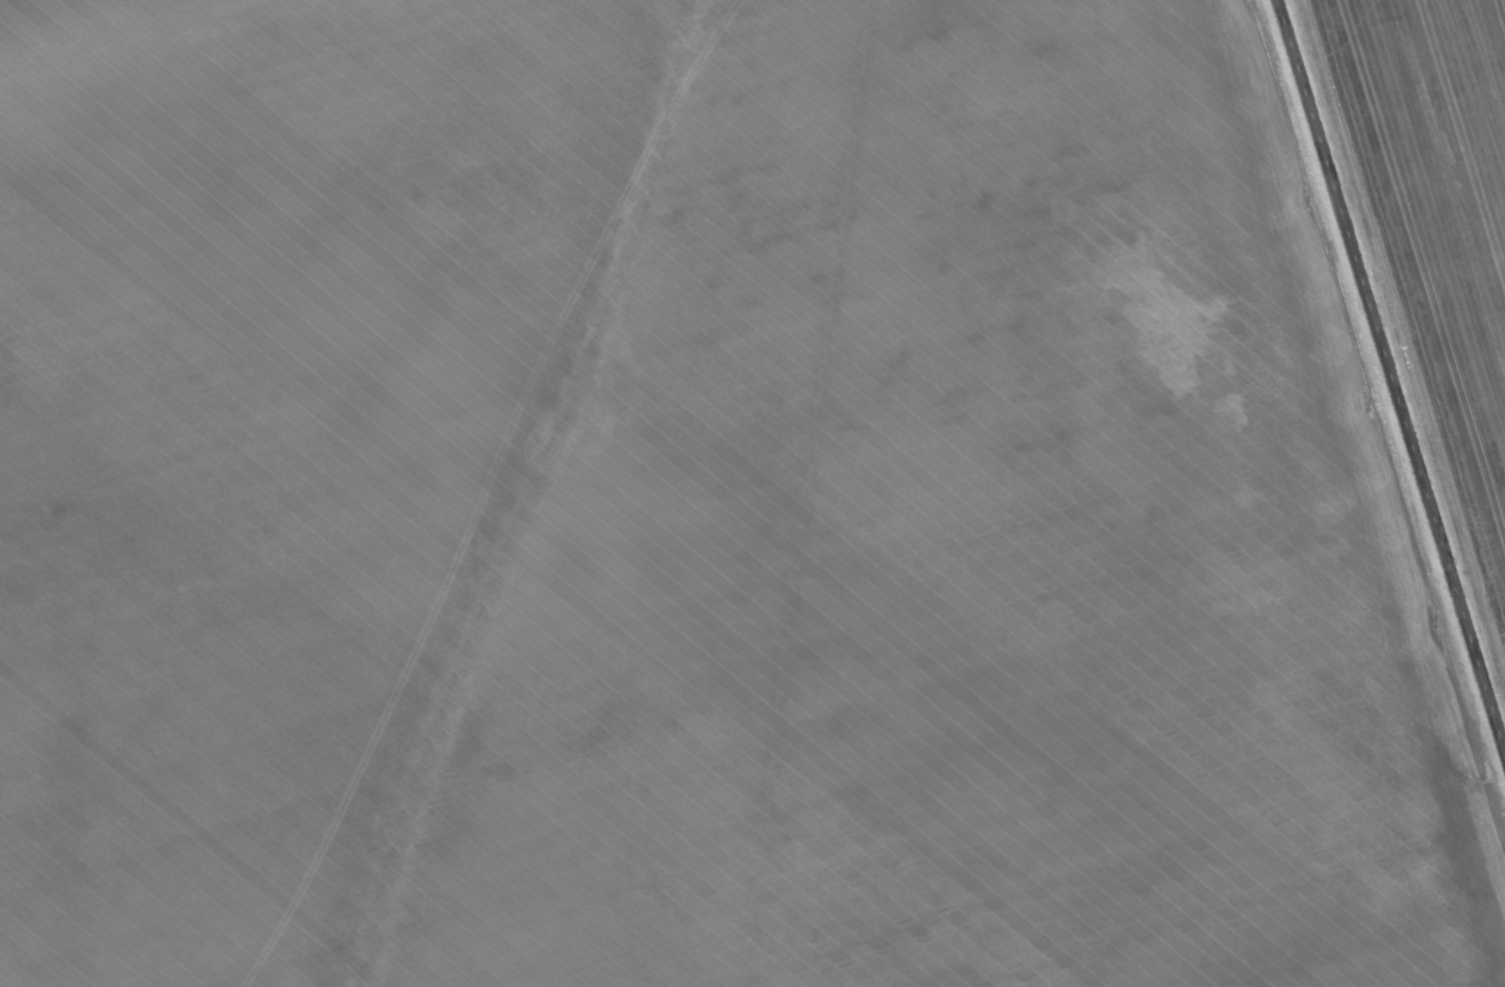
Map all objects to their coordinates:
road: (1396, 364)

